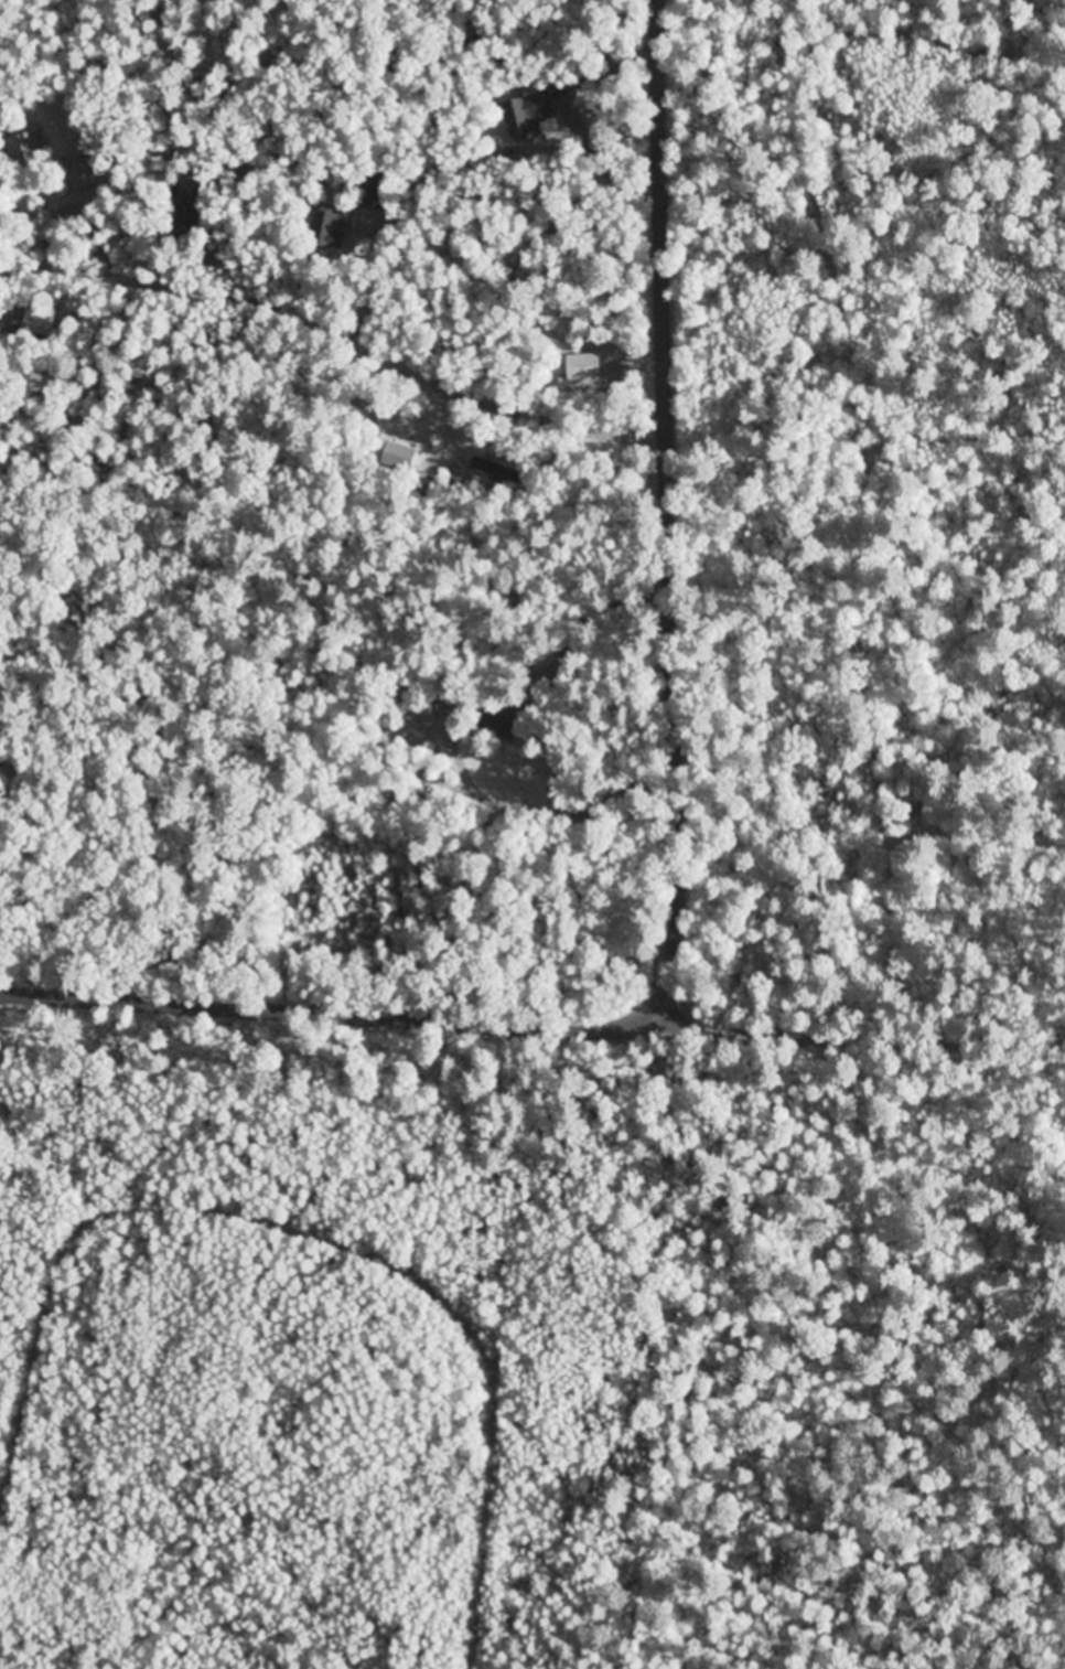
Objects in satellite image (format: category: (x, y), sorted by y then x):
building: (512, 115)
building: (327, 229)
building: (34, 322)
road: (338, 323)
building: (582, 367)
road: (665, 511)
road: (322, 1007)
road: (853, 1027)

